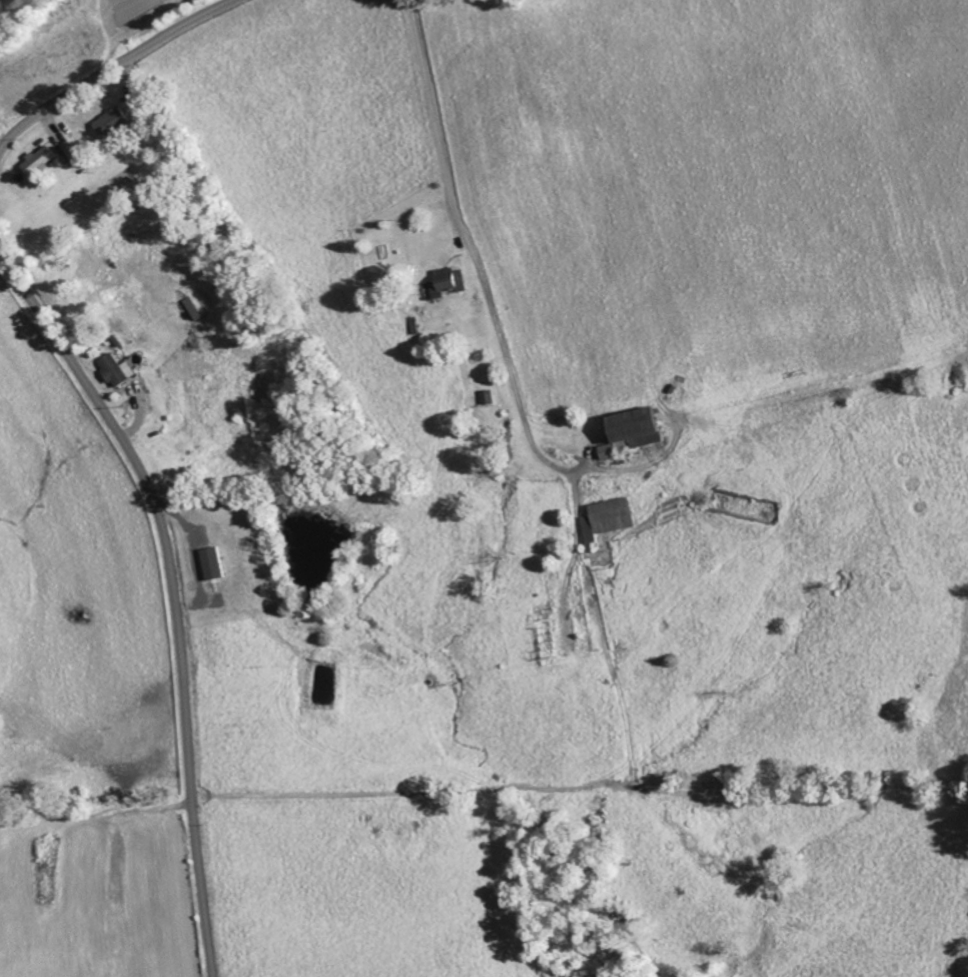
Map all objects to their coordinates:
road: (110, 67)
road: (453, 98)
building: (43, 161)
building: (447, 282)
building: (122, 370)
building: (606, 518)
building: (220, 563)
road: (174, 588)
building: (543, 635)
road: (580, 775)

